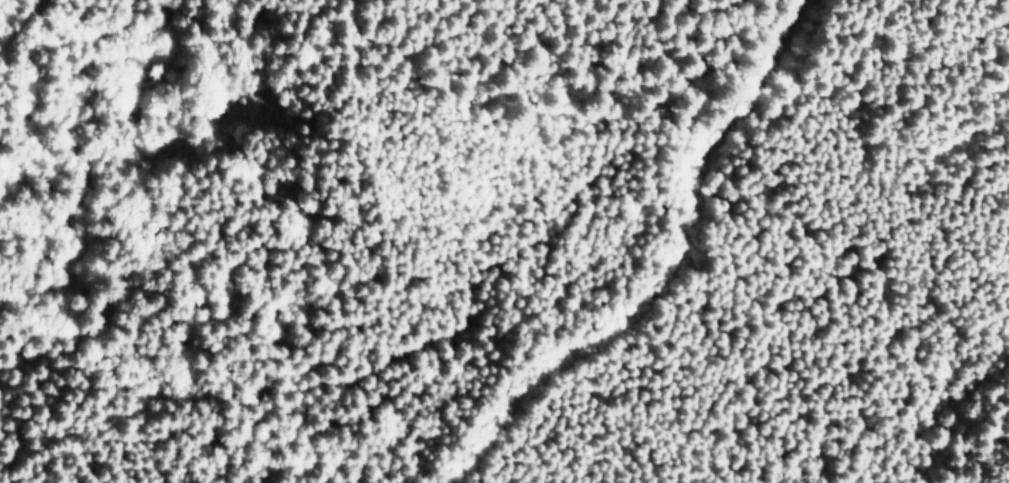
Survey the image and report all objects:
road: (667, 263)

